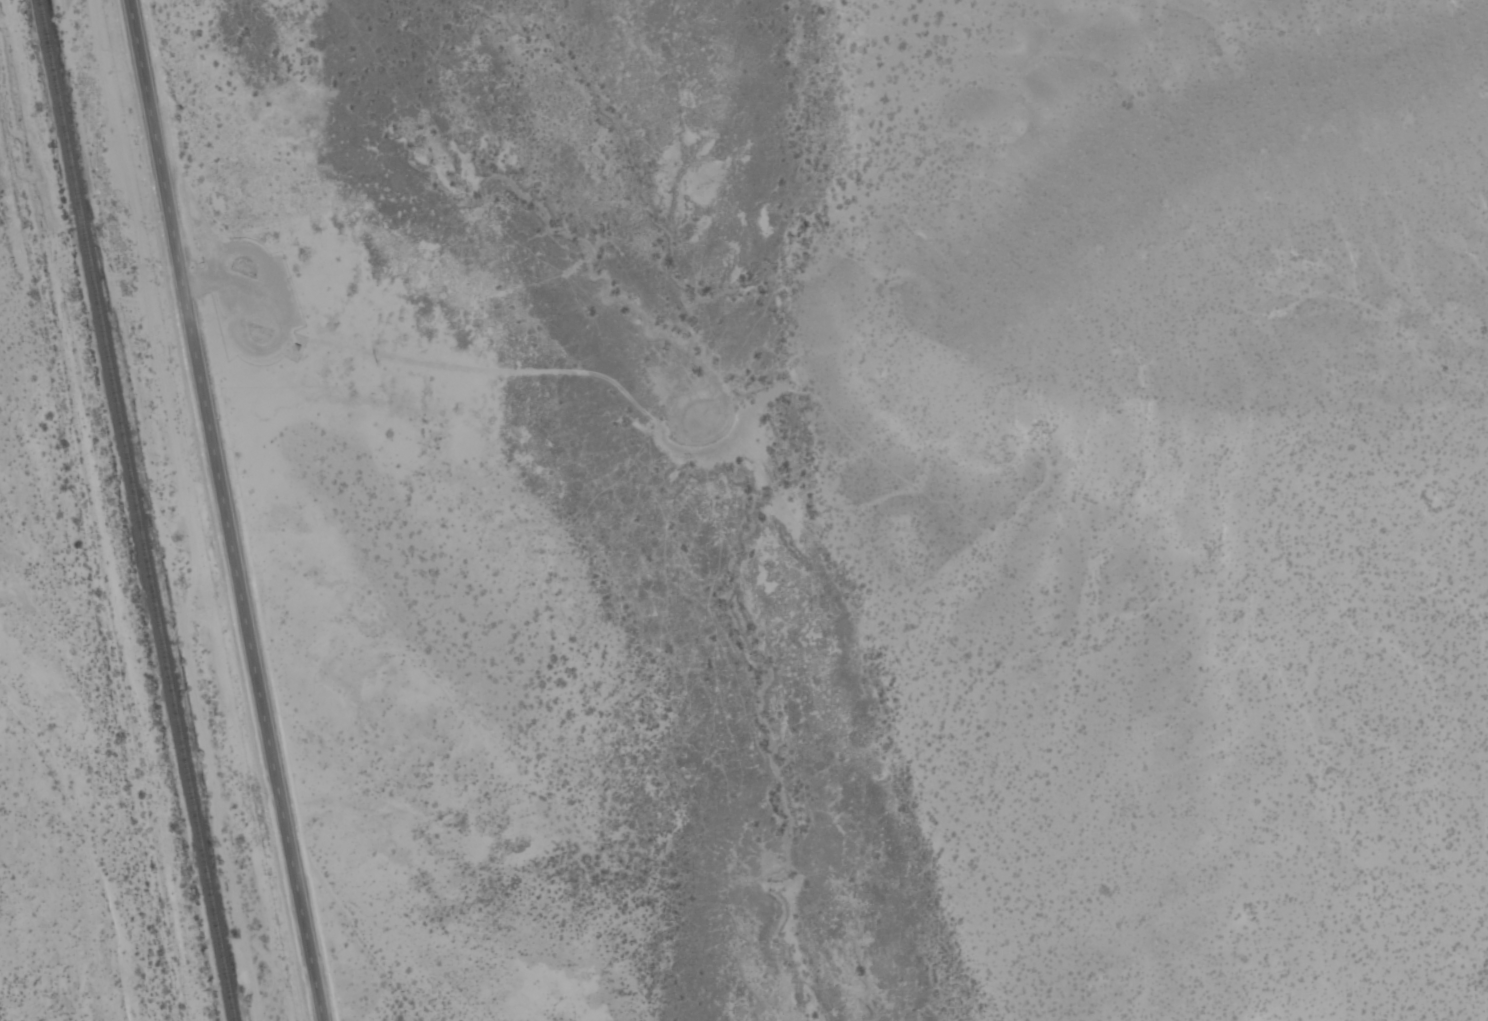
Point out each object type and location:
parking lot: (252, 301)
road: (241, 342)
building: (296, 349)
road: (909, 483)
railway: (134, 510)
road: (221, 510)
road: (62, 911)

